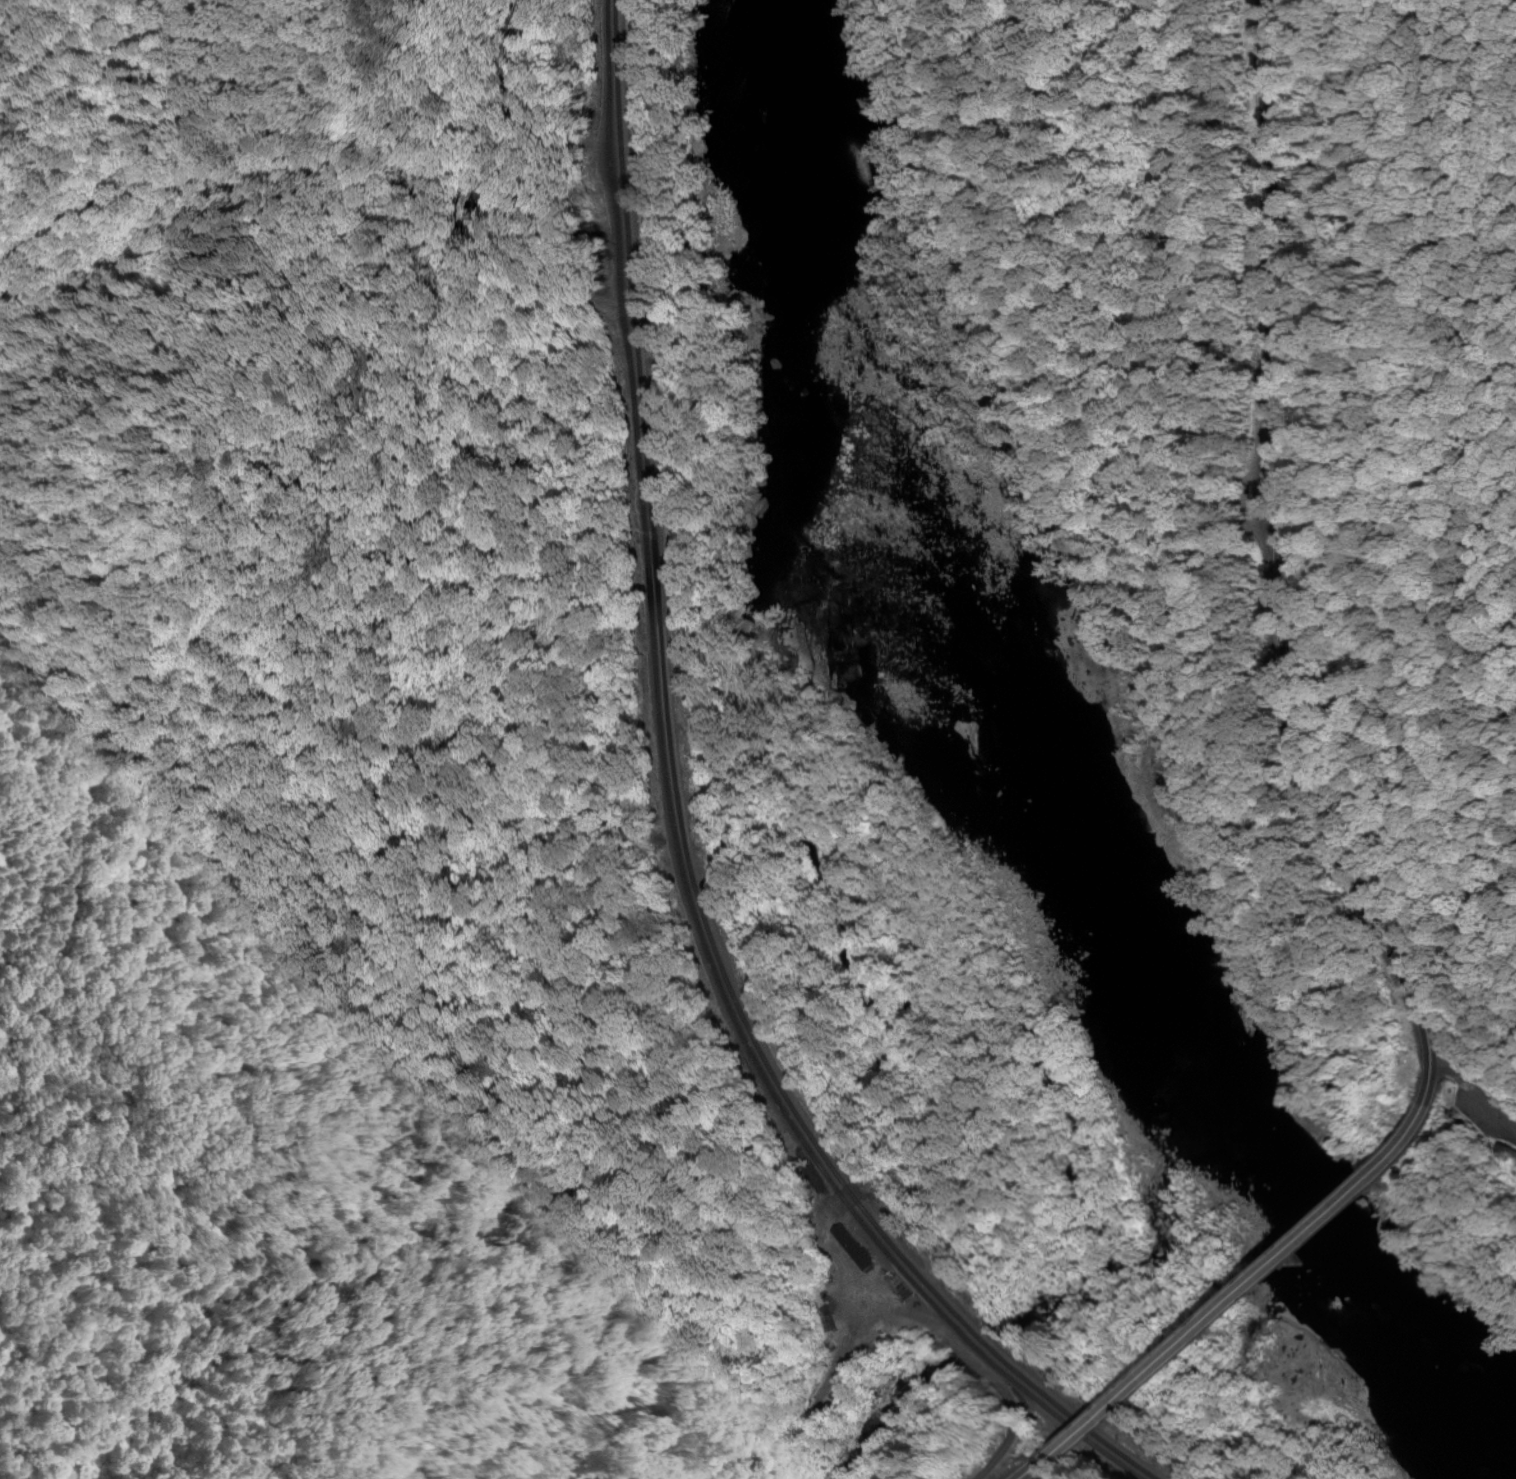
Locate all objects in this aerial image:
road: (119, 157)
road: (1277, 565)
road: (93, 772)
river: (1000, 805)
railway: (668, 824)
railway: (678, 827)
road: (1467, 1095)
parking lot: (1487, 1116)
road: (380, 1240)
road: (1243, 1290)
road: (1028, 1468)

